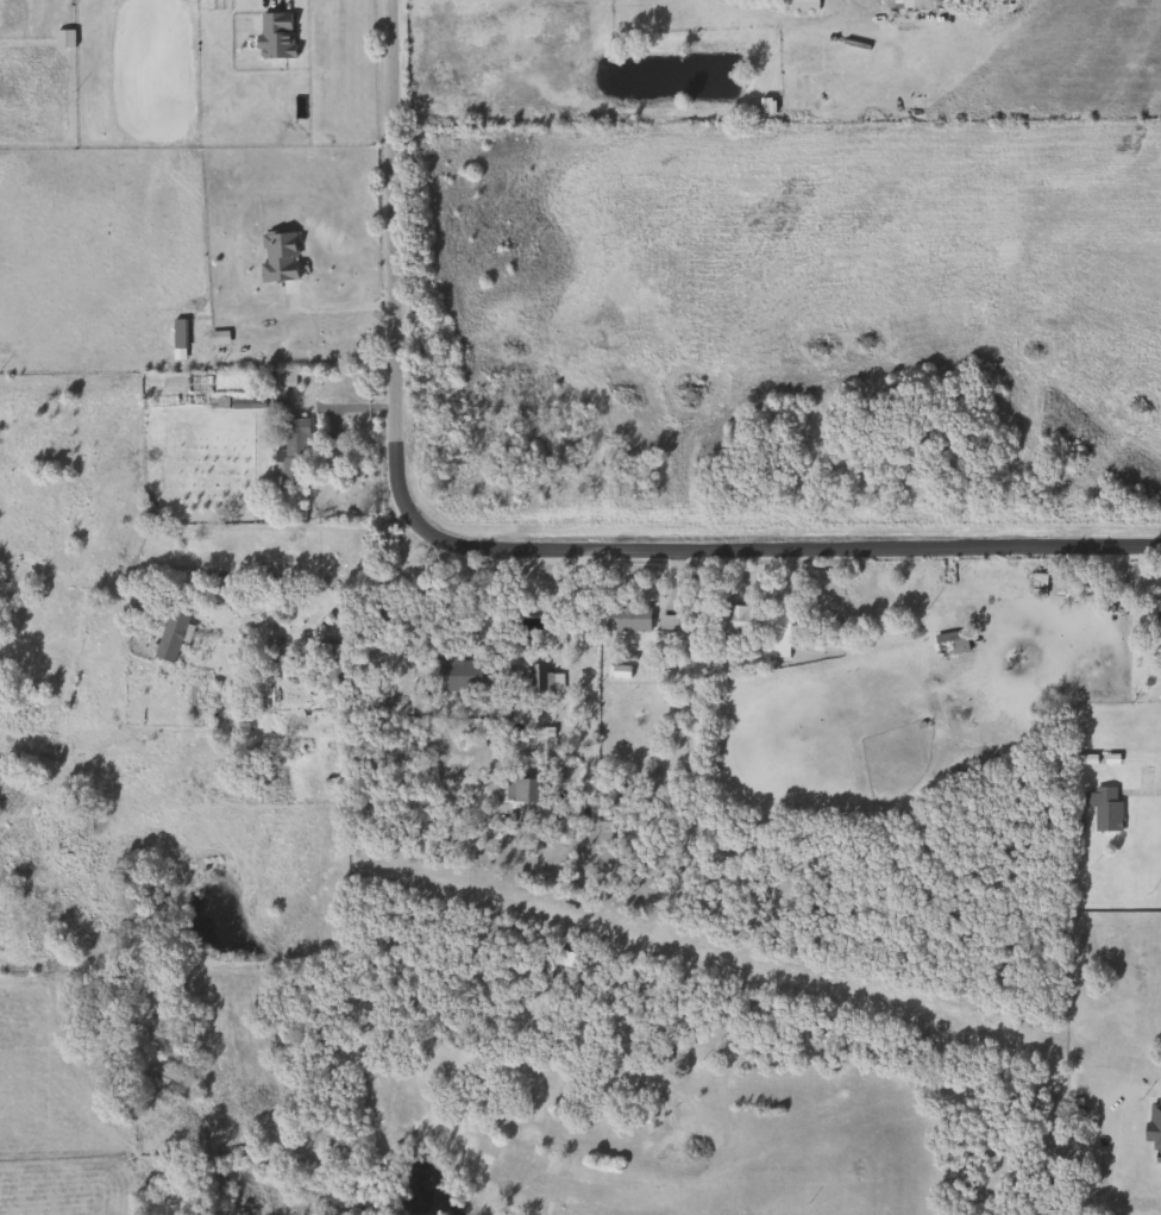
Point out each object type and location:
building: (904, 4)
building: (797, 6)
road: (795, 20)
building: (271, 35)
building: (275, 256)
building: (175, 332)
building: (290, 446)
road: (515, 549)
building: (1034, 584)
building: (1155, 614)
building: (622, 618)
building: (733, 620)
building: (167, 633)
building: (946, 644)
building: (770, 651)
building: (227, 659)
building: (533, 671)
building: (330, 674)
building: (456, 674)
road: (586, 674)
building: (522, 791)
road: (1150, 791)
building: (1099, 807)

